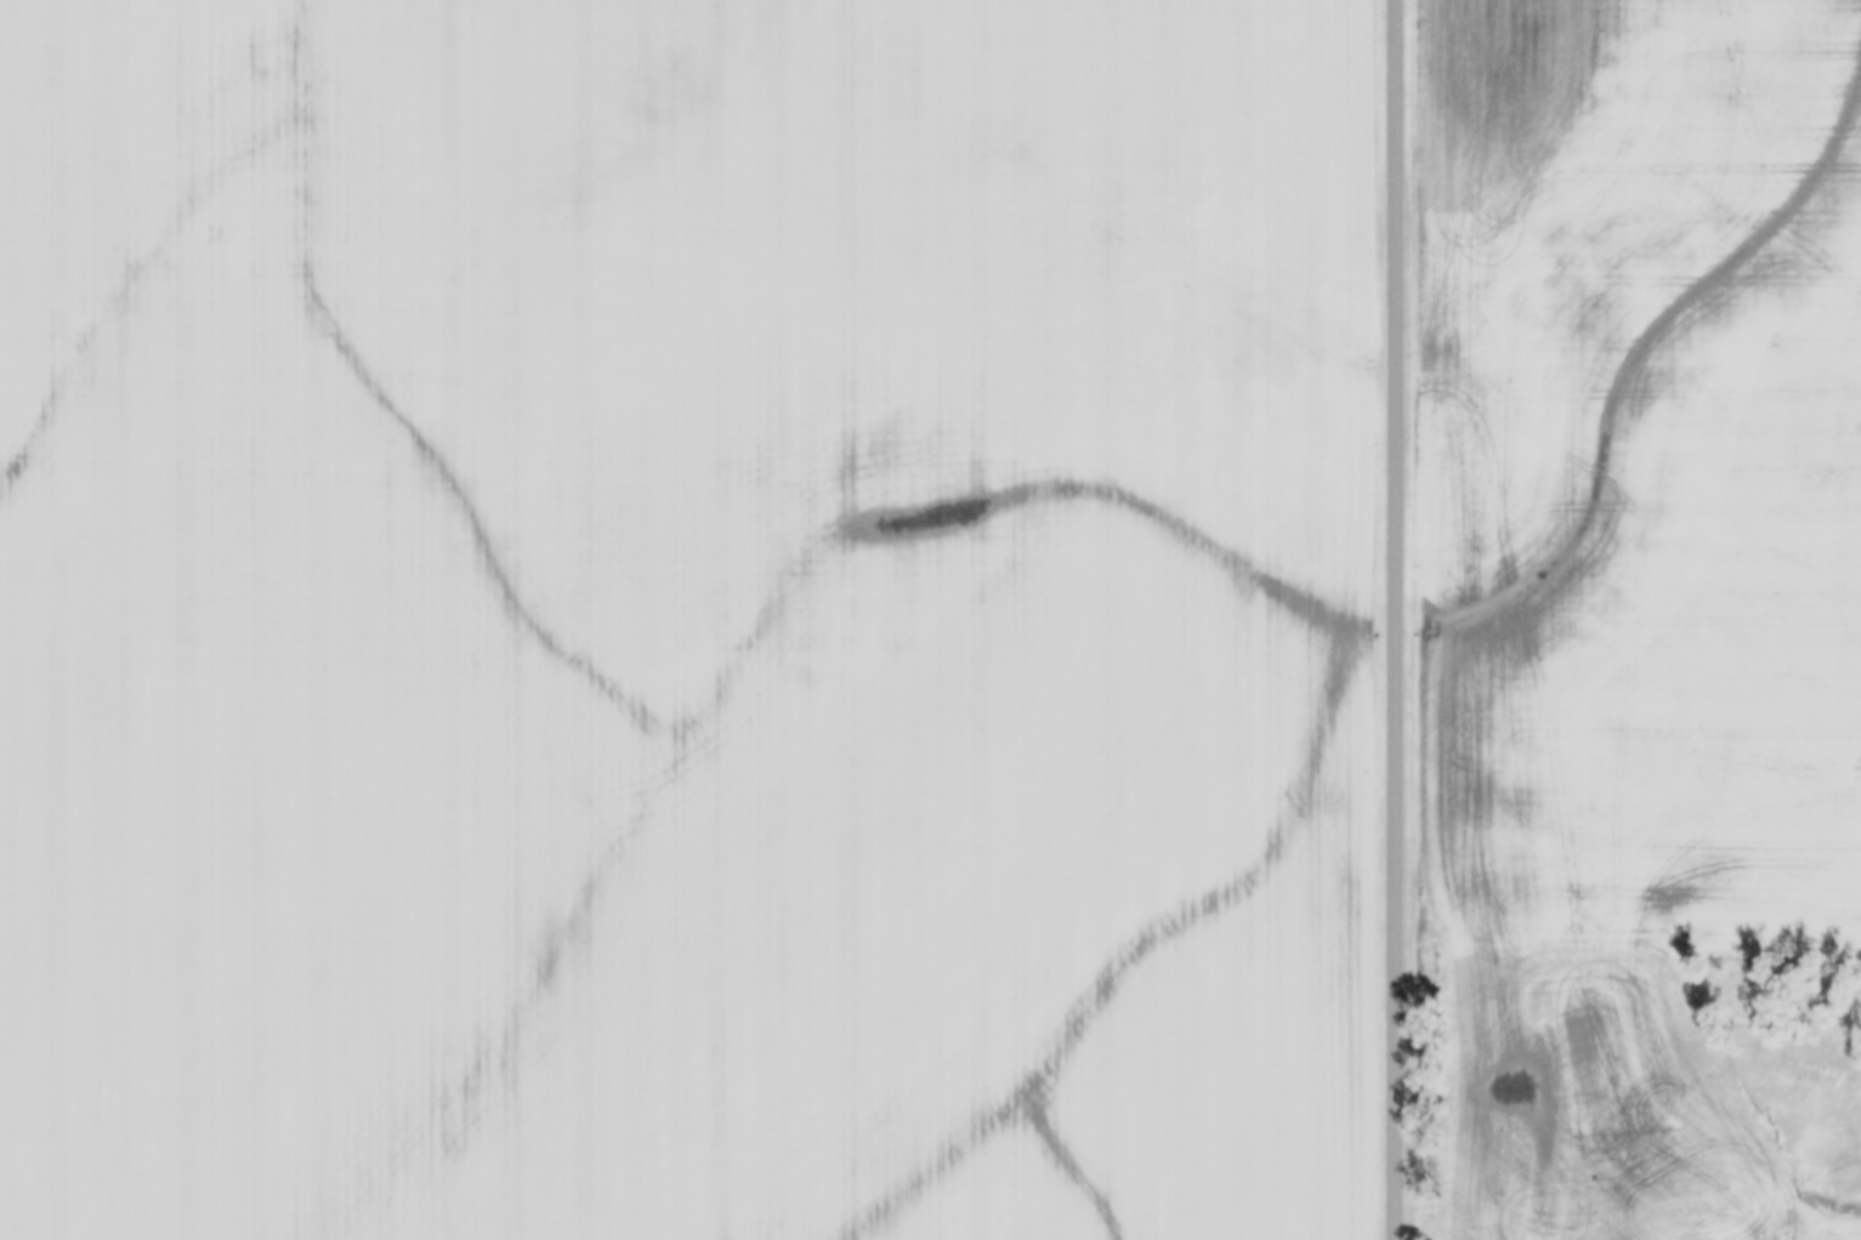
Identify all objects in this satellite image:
road: (1402, 620)

